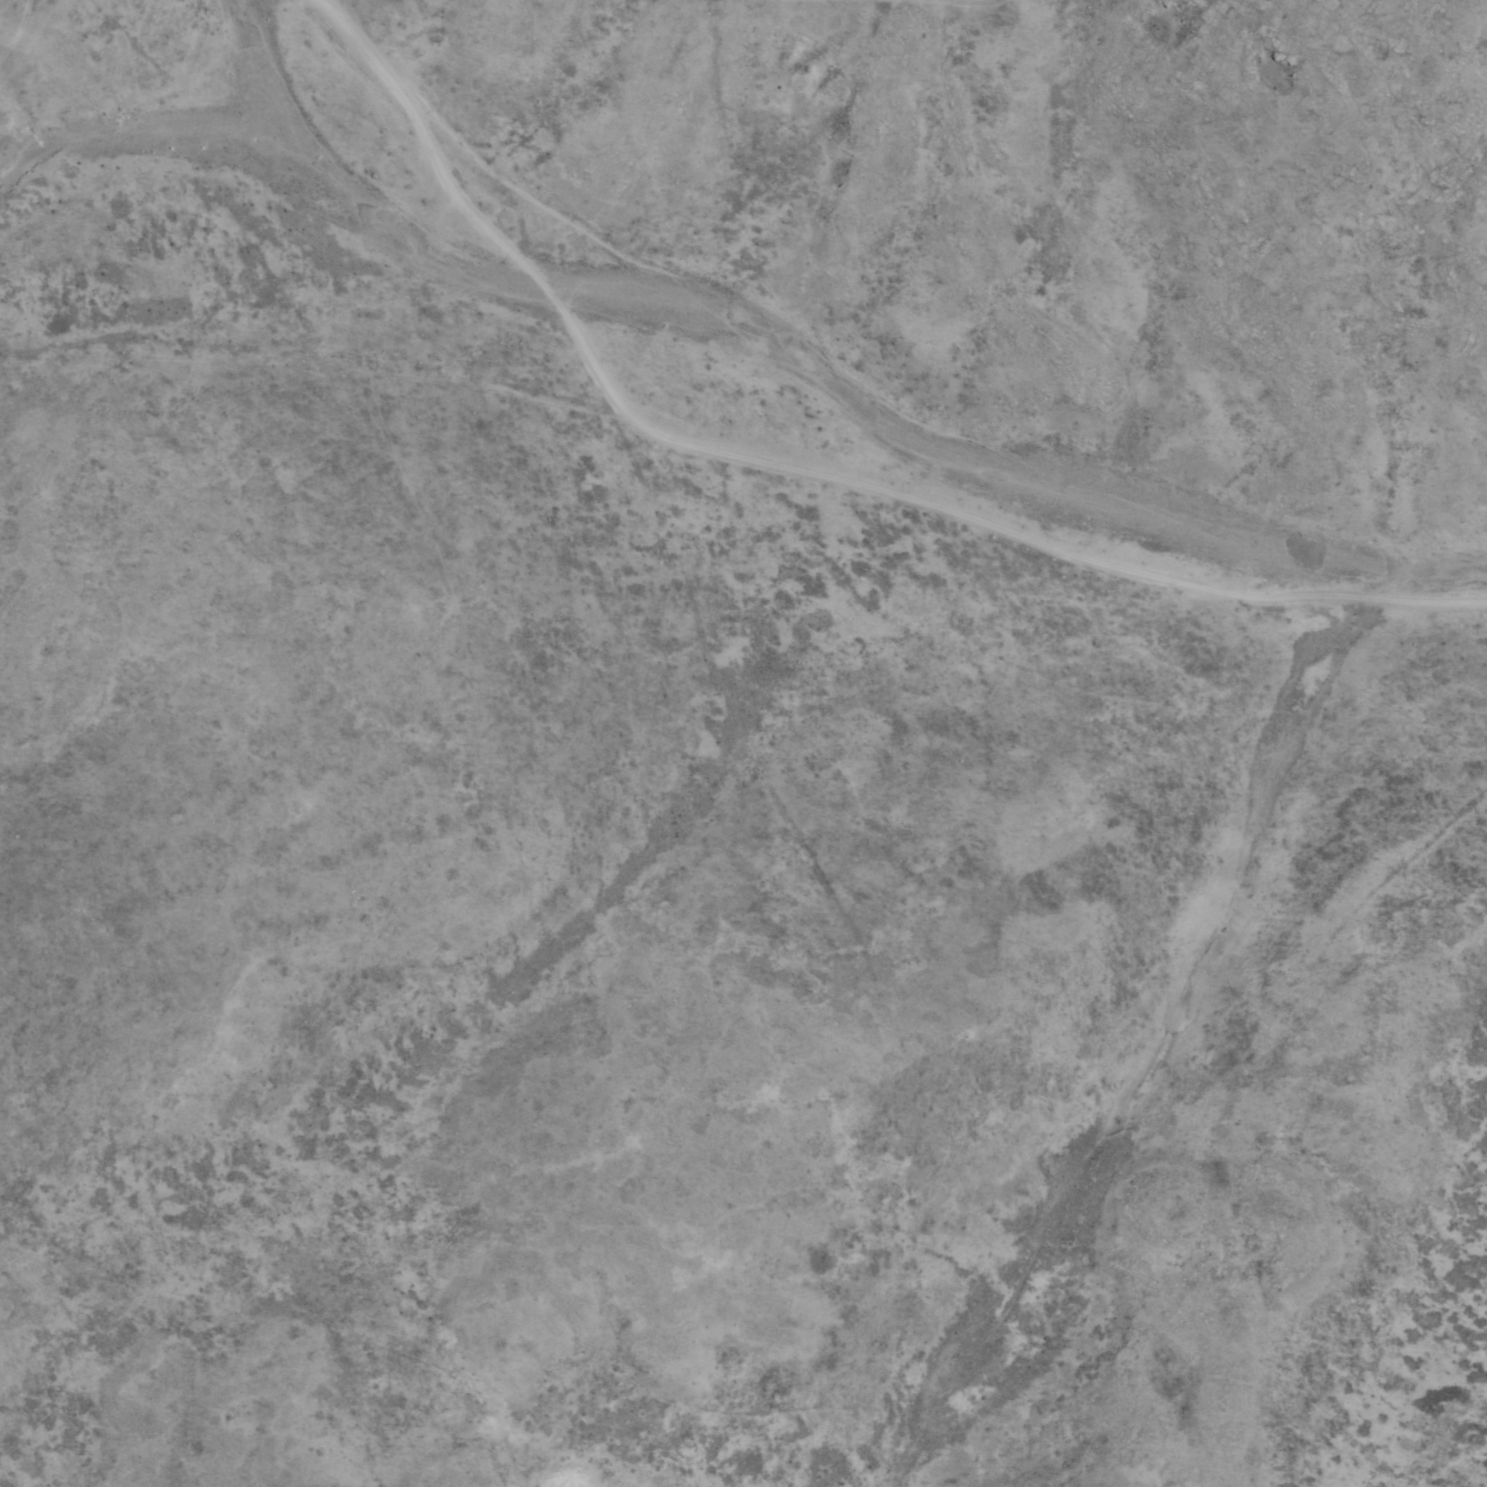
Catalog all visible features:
road: (800, 474)

